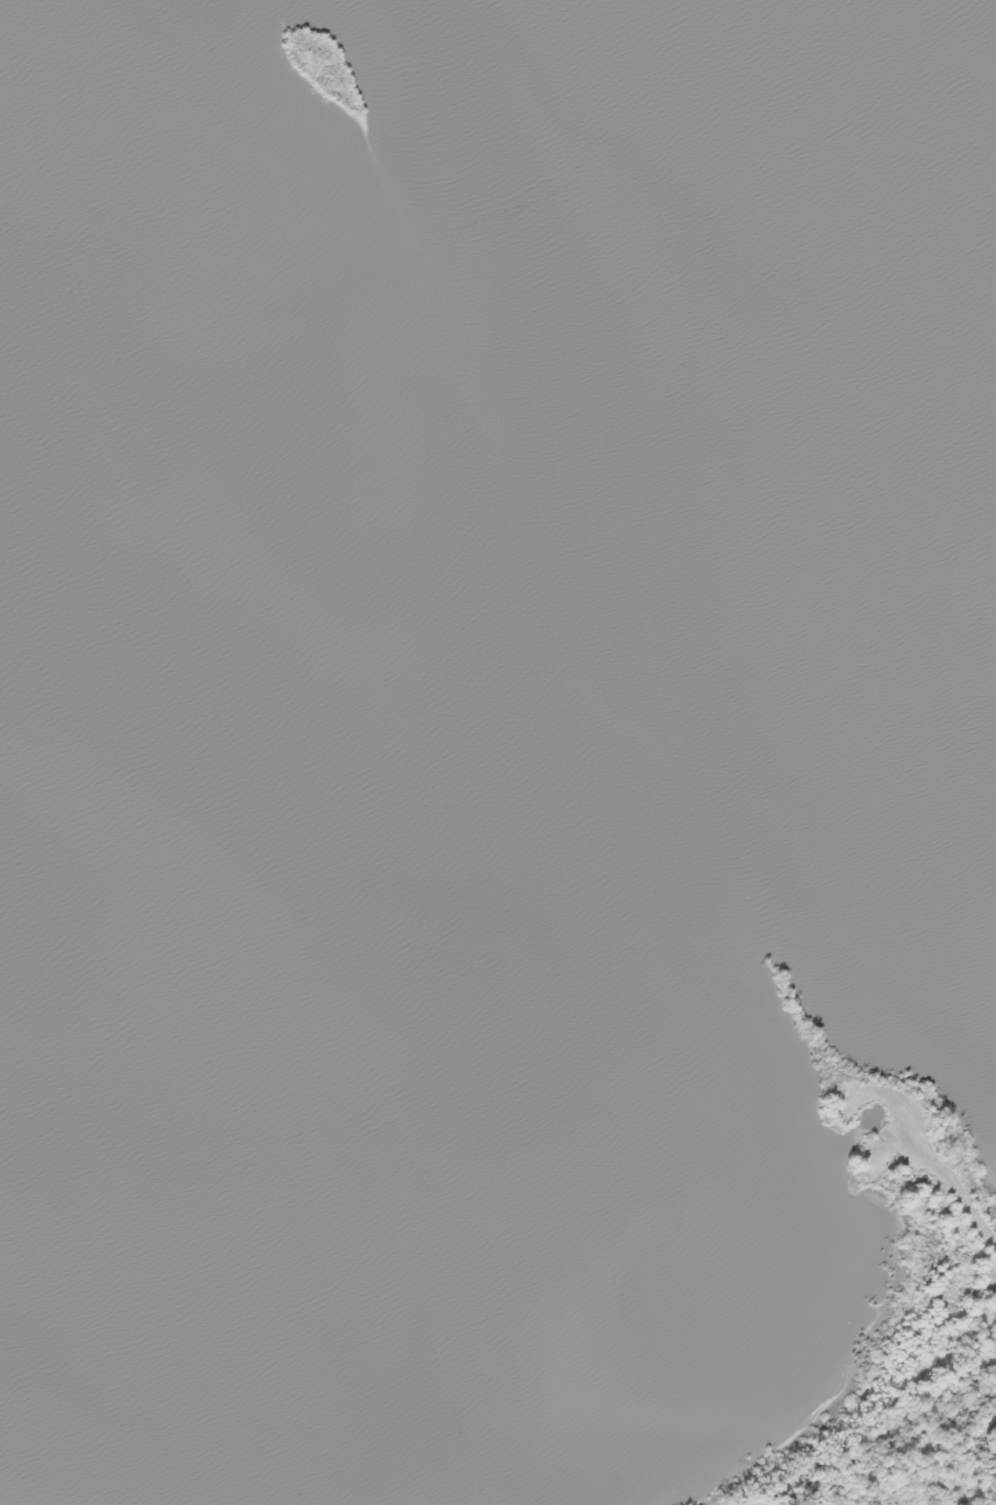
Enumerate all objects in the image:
road: (946, 1186)

